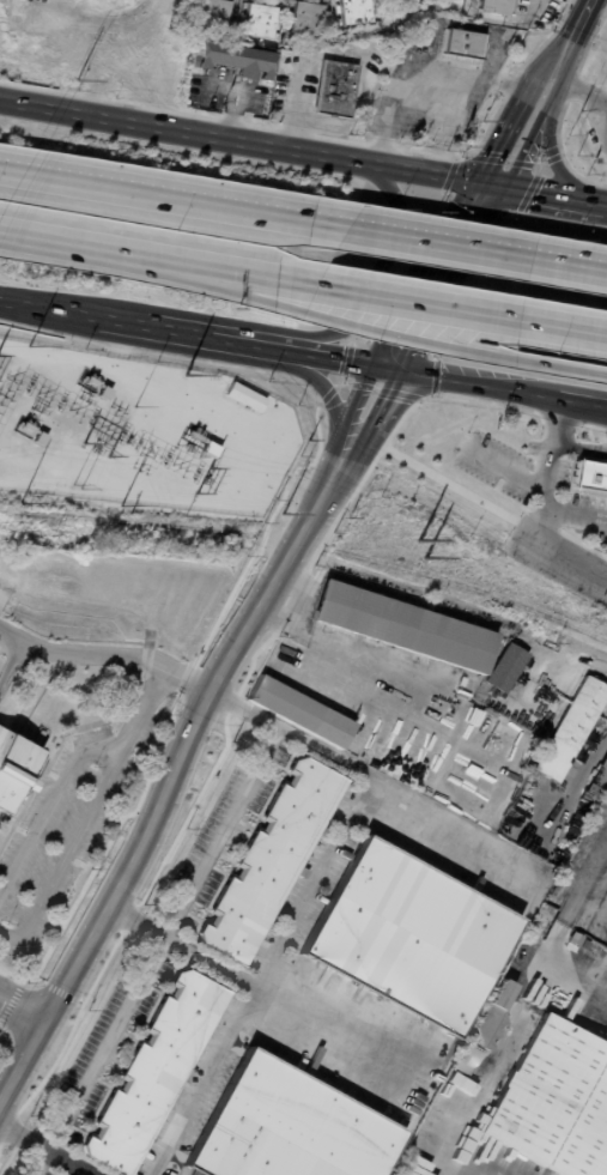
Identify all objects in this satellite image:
building: (408, 0)
road: (605, 0)
building: (496, 7)
building: (354, 12)
building: (212, 16)
building: (305, 19)
road: (578, 19)
building: (257, 22)
building: (462, 44)
road: (562, 53)
building: (236, 60)
road: (301, 77)
road: (433, 84)
building: (336, 90)
road: (588, 92)
road: (239, 104)
road: (602, 115)
road: (522, 128)
road: (245, 145)
road: (551, 150)
traffic signals: (492, 190)
road: (550, 199)
road: (170, 202)
road: (93, 250)
road: (473, 253)
road: (249, 275)
road: (441, 280)
road: (377, 286)
road: (244, 291)
road: (459, 309)
road: (61, 314)
road: (199, 337)
road: (454, 350)
road: (333, 361)
traffic signals: (390, 371)
road: (474, 386)
building: (105, 393)
road: (329, 394)
building: (247, 396)
road: (583, 405)
building: (153, 416)
road: (365, 417)
power substation: (138, 434)
building: (41, 438)
road: (578, 447)
road: (504, 466)
road: (547, 470)
building: (590, 477)
power tower: (77, 486)
road: (575, 513)
railway: (41, 519)
railway: (310, 545)
road: (571, 559)
road: (281, 580)
road: (397, 596)
building: (406, 626)
road: (550, 649)
road: (66, 650)
building: (508, 668)
road: (177, 678)
building: (465, 682)
road: (401, 689)
building: (299, 714)
building: (572, 729)
building: (14, 769)
road: (72, 770)
road: (582, 777)
building: (599, 782)
road: (445, 823)
road: (80, 824)
building: (272, 866)
road: (583, 878)
road: (311, 884)
road: (110, 898)
road: (23, 929)
building: (409, 937)
road: (154, 951)
road: (573, 982)
road: (22, 1009)
road: (323, 1025)
building: (485, 1032)
road: (500, 1048)
building: (160, 1074)
road: (204, 1082)
building: (557, 1103)
building: (289, 1128)
road: (44, 1150)

